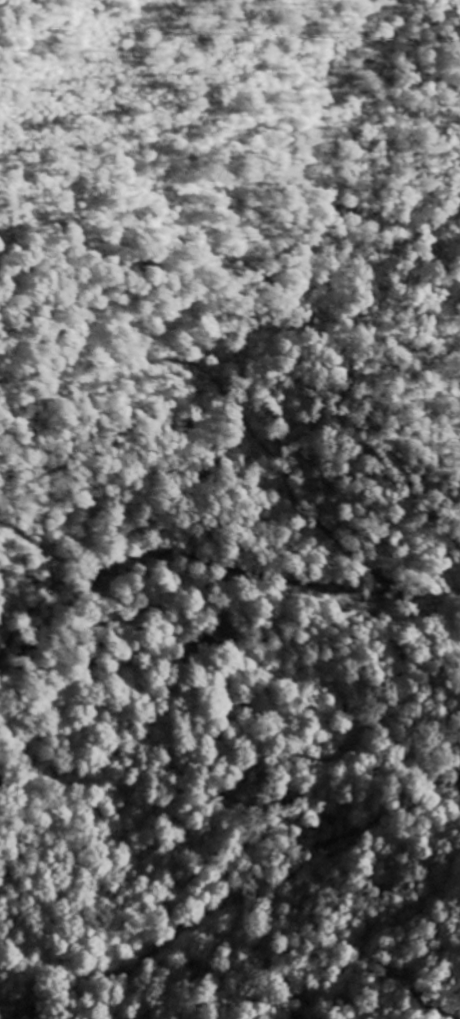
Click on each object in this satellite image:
road: (143, 907)

